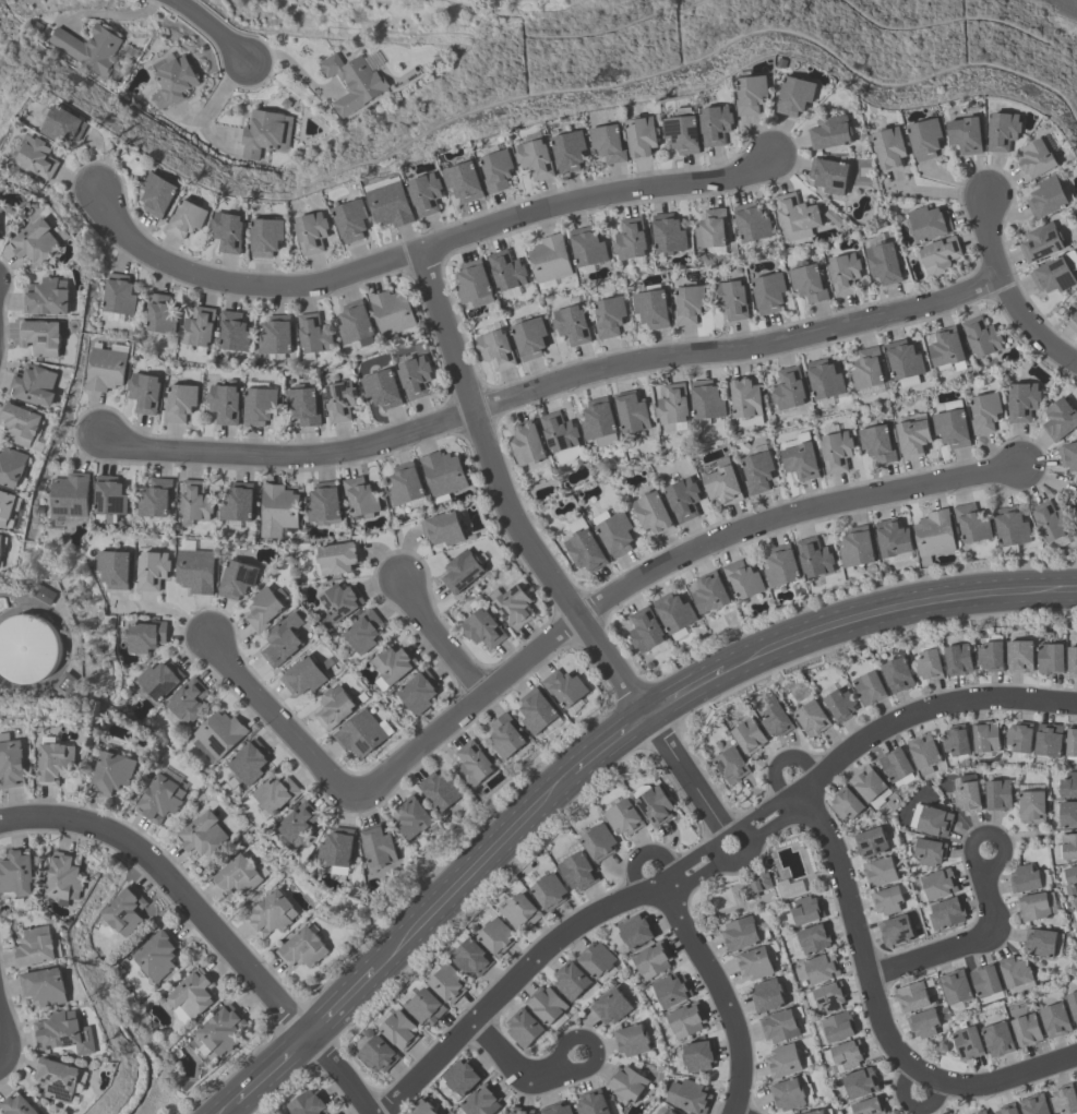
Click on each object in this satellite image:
road: (211, 27)
building: (89, 48)
road: (288, 61)
building: (173, 81)
building: (354, 83)
road: (223, 89)
building: (752, 93)
building: (795, 94)
building: (716, 123)
building: (65, 127)
building: (683, 130)
building: (1002, 130)
building: (829, 131)
building: (266, 133)
building: (966, 133)
building: (642, 134)
building: (924, 137)
building: (608, 142)
building: (888, 146)
building: (569, 149)
building: (36, 157)
building: (535, 157)
building: (1036, 158)
building: (496, 171)
building: (828, 175)
building: (464, 182)
building: (1046, 196)
building: (158, 197)
building: (404, 200)
building: (795, 216)
building: (833, 217)
building: (188, 221)
building: (351, 221)
building: (752, 221)
building: (929, 221)
building: (710, 228)
building: (668, 232)
building: (312, 235)
building: (249, 238)
building: (630, 238)
building: (1041, 241)
building: (37, 242)
building: (587, 247)
road: (422, 253)
building: (940, 254)
building: (549, 260)
building: (884, 262)
building: (1055, 272)
building: (843, 273)
building: (507, 274)
building: (807, 282)
building: (474, 286)
building: (768, 292)
road: (1008, 294)
building: (49, 298)
building: (119, 298)
building: (731, 298)
building: (689, 303)
building: (651, 308)
building: (1074, 312)
building: (392, 314)
building: (159, 315)
building: (609, 315)
building: (355, 323)
building: (572, 324)
building: (199, 330)
building: (234, 333)
building: (313, 335)
building: (981, 336)
building: (41, 338)
building: (530, 338)
building: (275, 340)
building: (946, 346)
building: (495, 348)
building: (904, 359)
building: (107, 367)
building: (867, 368)
building: (416, 379)
building: (824, 379)
building: (36, 386)
road: (551, 386)
building: (788, 387)
building: (382, 391)
building: (145, 394)
building: (745, 397)
building: (707, 398)
building: (1021, 400)
building: (340, 402)
building: (181, 403)
building: (672, 404)
building: (224, 406)
building: (303, 407)
building: (260, 409)
building: (632, 411)
building: (984, 411)
building: (1060, 419)
building: (599, 421)
building: (952, 424)
building: (22, 426)
building: (560, 433)
building: (912, 436)
building: (877, 443)
building: (528, 445)
building: (836, 451)
building: (1068, 455)
building: (801, 460)
building: (12, 469)
building: (756, 471)
building: (444, 475)
building: (723, 482)
building: (407, 488)
building: (1075, 495)
building: (69, 498)
building: (361, 499)
building: (683, 499)
building: (156, 500)
building: (110, 501)
building: (195, 502)
building: (1075, 505)
building: (237, 506)
building: (325, 506)
building: (7, 510)
building: (277, 512)
building: (653, 512)
building: (1048, 519)
building: (971, 523)
building: (1010, 528)
building: (444, 530)
building: (614, 531)
building: (934, 532)
building: (893, 537)
building: (584, 546)
building: (857, 547)
building: (2, 551)
building: (814, 556)
building: (335, 560)
road: (541, 563)
building: (781, 565)
road: (659, 568)
building: (115, 571)
building: (153, 571)
building: (465, 571)
building: (196, 572)
building: (238, 579)
building: (743, 579)
building: (710, 591)
building: (340, 603)
building: (513, 607)
road: (895, 607)
road: (161, 609)
building: (264, 611)
building: (674, 611)
building: (645, 628)
building: (483, 630)
building: (363, 634)
building: (143, 636)
road: (442, 638)
building: (284, 643)
building: (29, 646)
storage tank: (29, 646)
building: (991, 656)
building: (1019, 656)
building: (1050, 658)
building: (958, 659)
building: (1073, 661)
building: (929, 664)
building: (394, 666)
building: (898, 674)
building: (158, 681)
building: (564, 686)
building: (869, 687)
road: (684, 692)
building: (418, 694)
building: (189, 703)
building: (839, 704)
building: (335, 708)
building: (537, 709)
building: (812, 717)
road: (279, 719)
building: (776, 720)
building: (363, 734)
building: (749, 735)
building: (218, 736)
building: (985, 736)
building: (1019, 736)
building: (507, 738)
building: (1049, 739)
building: (955, 740)
road: (608, 742)
building: (1072, 742)
building: (924, 752)
road: (779, 759)
building: (56, 763)
building: (250, 763)
building: (895, 764)
building: (12, 765)
building: (731, 765)
building: (476, 766)
building: (112, 774)
building: (866, 782)
building: (1068, 784)
building: (442, 791)
building: (967, 793)
building: (997, 794)
building: (276, 795)
building: (161, 799)
building: (653, 803)
building: (846, 803)
building: (1031, 806)
building: (1067, 814)
building: (624, 816)
building: (417, 820)
building: (934, 820)
building: (299, 826)
building: (204, 836)
building: (598, 841)
building: (870, 842)
building: (1068, 846)
building: (380, 847)
building: (338, 850)
building: (930, 851)
road: (643, 852)
road: (705, 858)
road: (470, 870)
building: (578, 872)
building: (879, 872)
building: (17, 874)
building: (65, 878)
building: (237, 878)
building: (1024, 878)
building: (1070, 879)
building: (938, 883)
road: (177, 885)
building: (756, 885)
building: (549, 891)
building: (887, 899)
building: (1032, 907)
building: (806, 910)
building: (1075, 910)
building: (124, 912)
building: (519, 912)
building: (946, 913)
building: (273, 915)
building: (895, 930)
building: (636, 931)
building: (740, 934)
building: (496, 938)
building: (813, 938)
road: (855, 939)
building: (1040, 942)
road: (969, 944)
building: (37, 947)
building: (303, 949)
building: (157, 957)
building: (596, 959)
building: (651, 959)
building: (472, 961)
building: (754, 963)
building: (822, 967)
building: (1014, 971)
building: (571, 980)
building: (985, 982)
building: (448, 986)
building: (955, 986)
building: (45, 987)
building: (671, 990)
road: (720, 993)
building: (767, 995)
building: (825, 996)
building: (911, 996)
building: (191, 998)
road: (340, 1003)
building: (546, 1004)
building: (1073, 1004)
building: (610, 1006)
building: (423, 1007)
building: (685, 1020)
building: (1054, 1020)
building: (923, 1022)
building: (778, 1026)
building: (837, 1027)
building: (523, 1028)
building: (398, 1030)
building: (1026, 1030)
building: (219, 1032)
road: (1, 1033)
building: (63, 1033)
building: (997, 1039)
building: (631, 1040)
building: (967, 1043)
road: (0, 1047)
building: (847, 1054)
building: (698, 1055)
building: (379, 1056)
building: (782, 1061)
road: (272, 1068)
road: (553, 1070)
road: (339, 1073)
road: (1002, 1078)
building: (58, 1081)
building: (460, 1081)
building: (860, 1082)
building: (625, 1083)
building: (787, 1094)
building: (689, 1097)
building: (1065, 1099)
building: (482, 1102)
building: (591, 1103)
building: (309, 1104)
road: (910, 1104)
building: (1034, 1104)
building: (16, 1105)
building: (867, 1106)
road: (227, 1107)
building: (422, 1109)
building: (1008, 1109)
building: (555, 1110)
park: (258, 1111)
building: (668, 1112)
road: (737, 1112)
building: (813, 1112)
building: (979, 1112)

